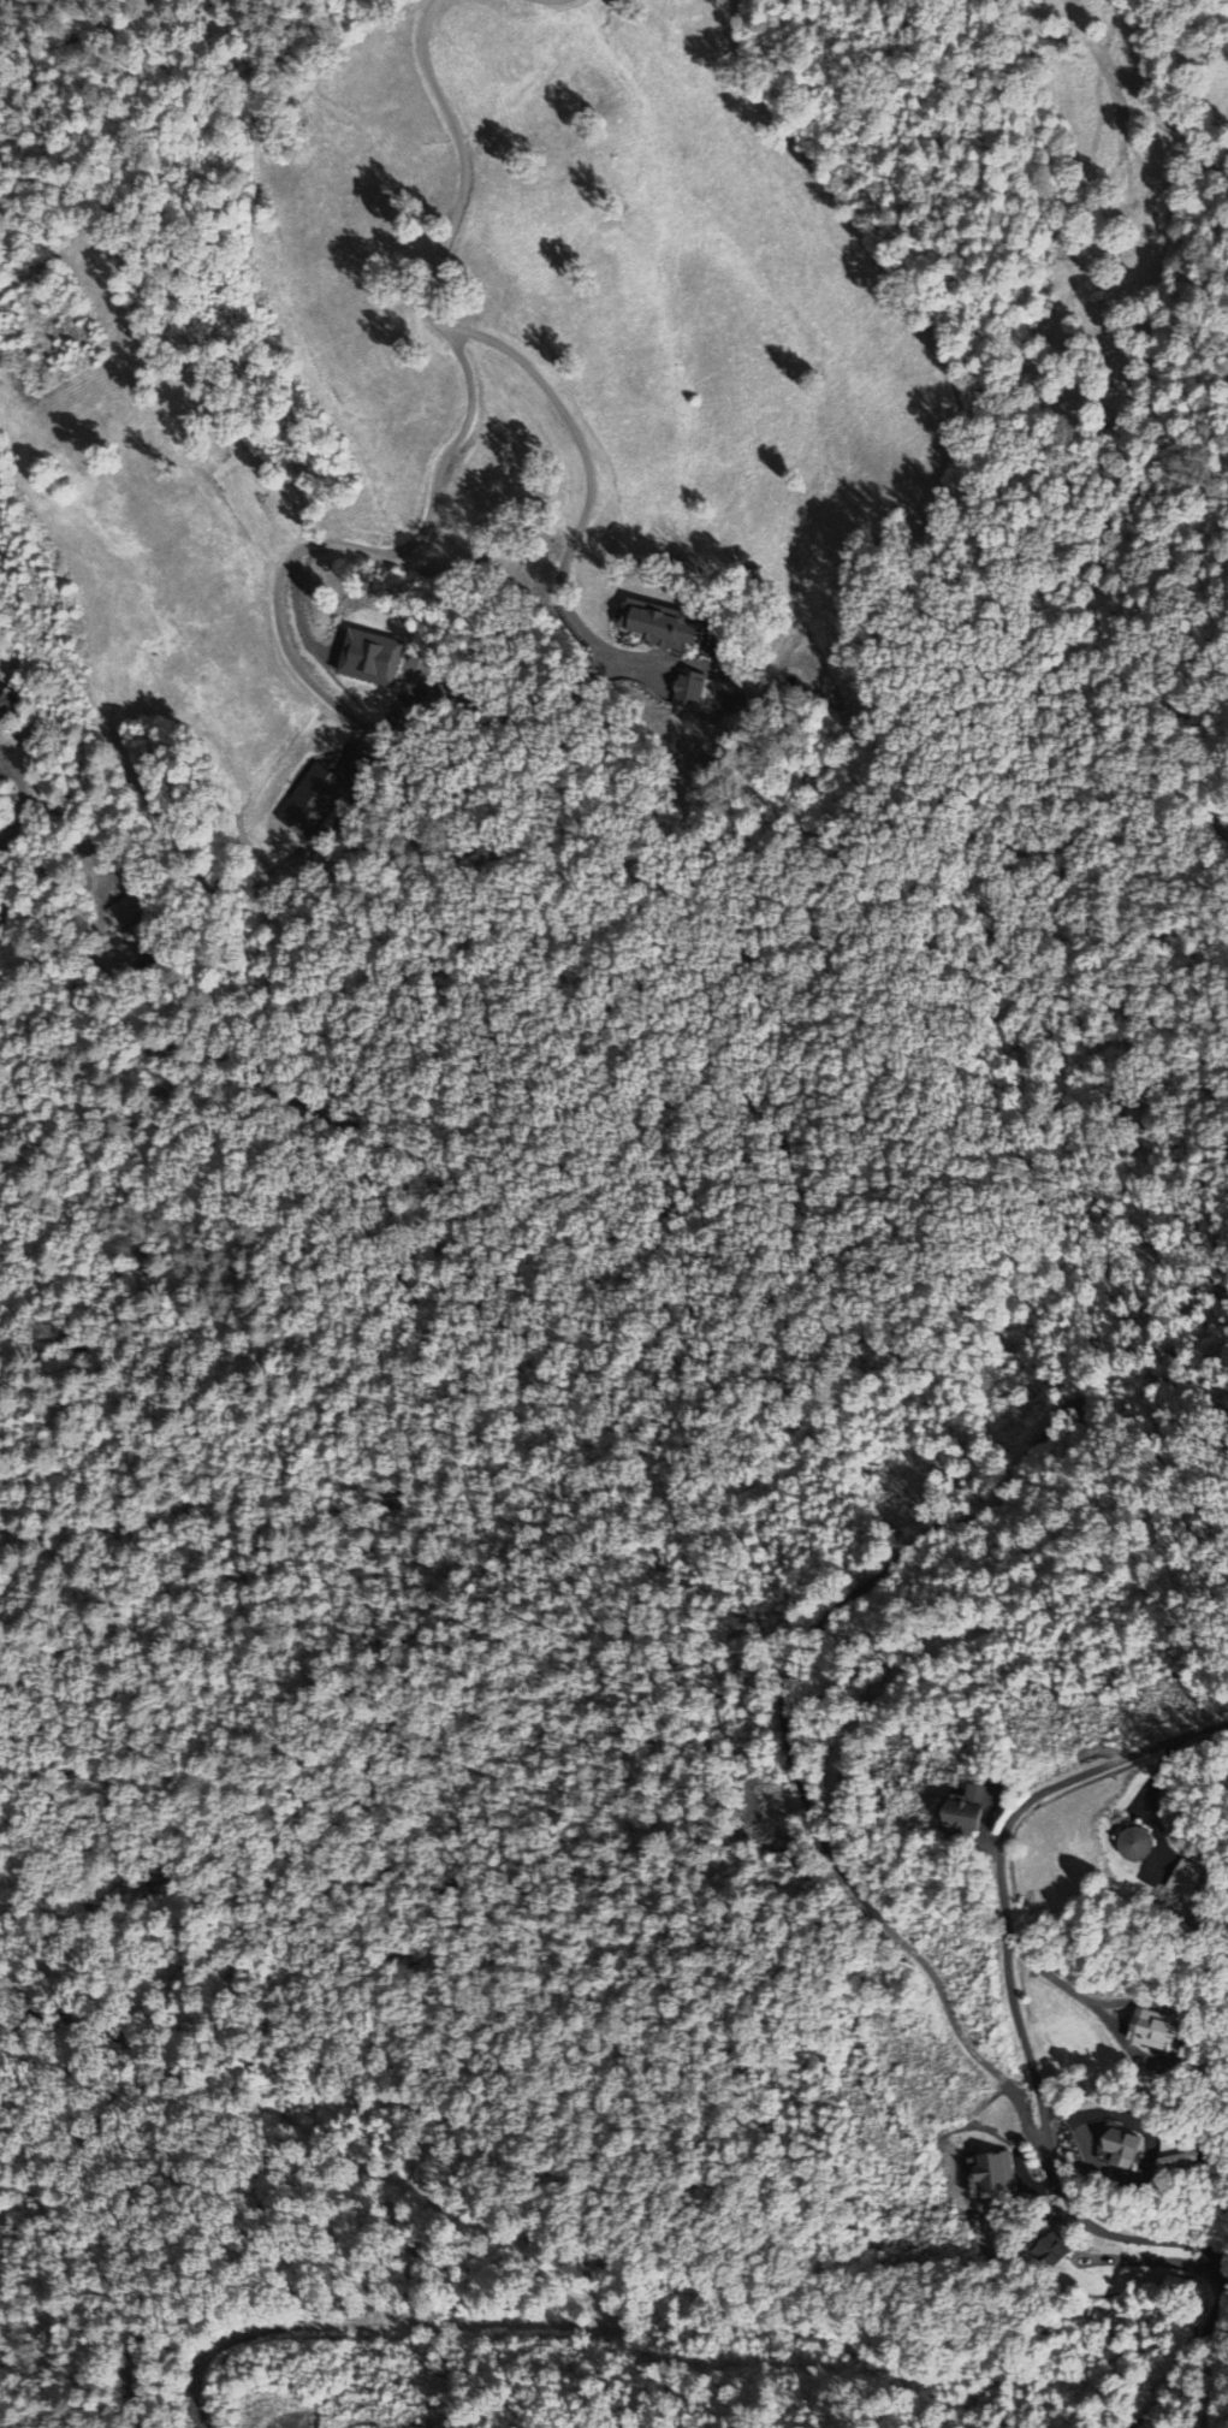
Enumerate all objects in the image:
building: (663, 627)
building: (370, 661)
road: (1214, 793)
building: (125, 911)
building: (975, 1813)
building: (1140, 1846)
road: (1013, 1991)
building: (1155, 2033)
building: (1127, 2150)
building: (1002, 2175)
building: (1061, 2254)
road: (1186, 2363)
road: (1221, 2374)

